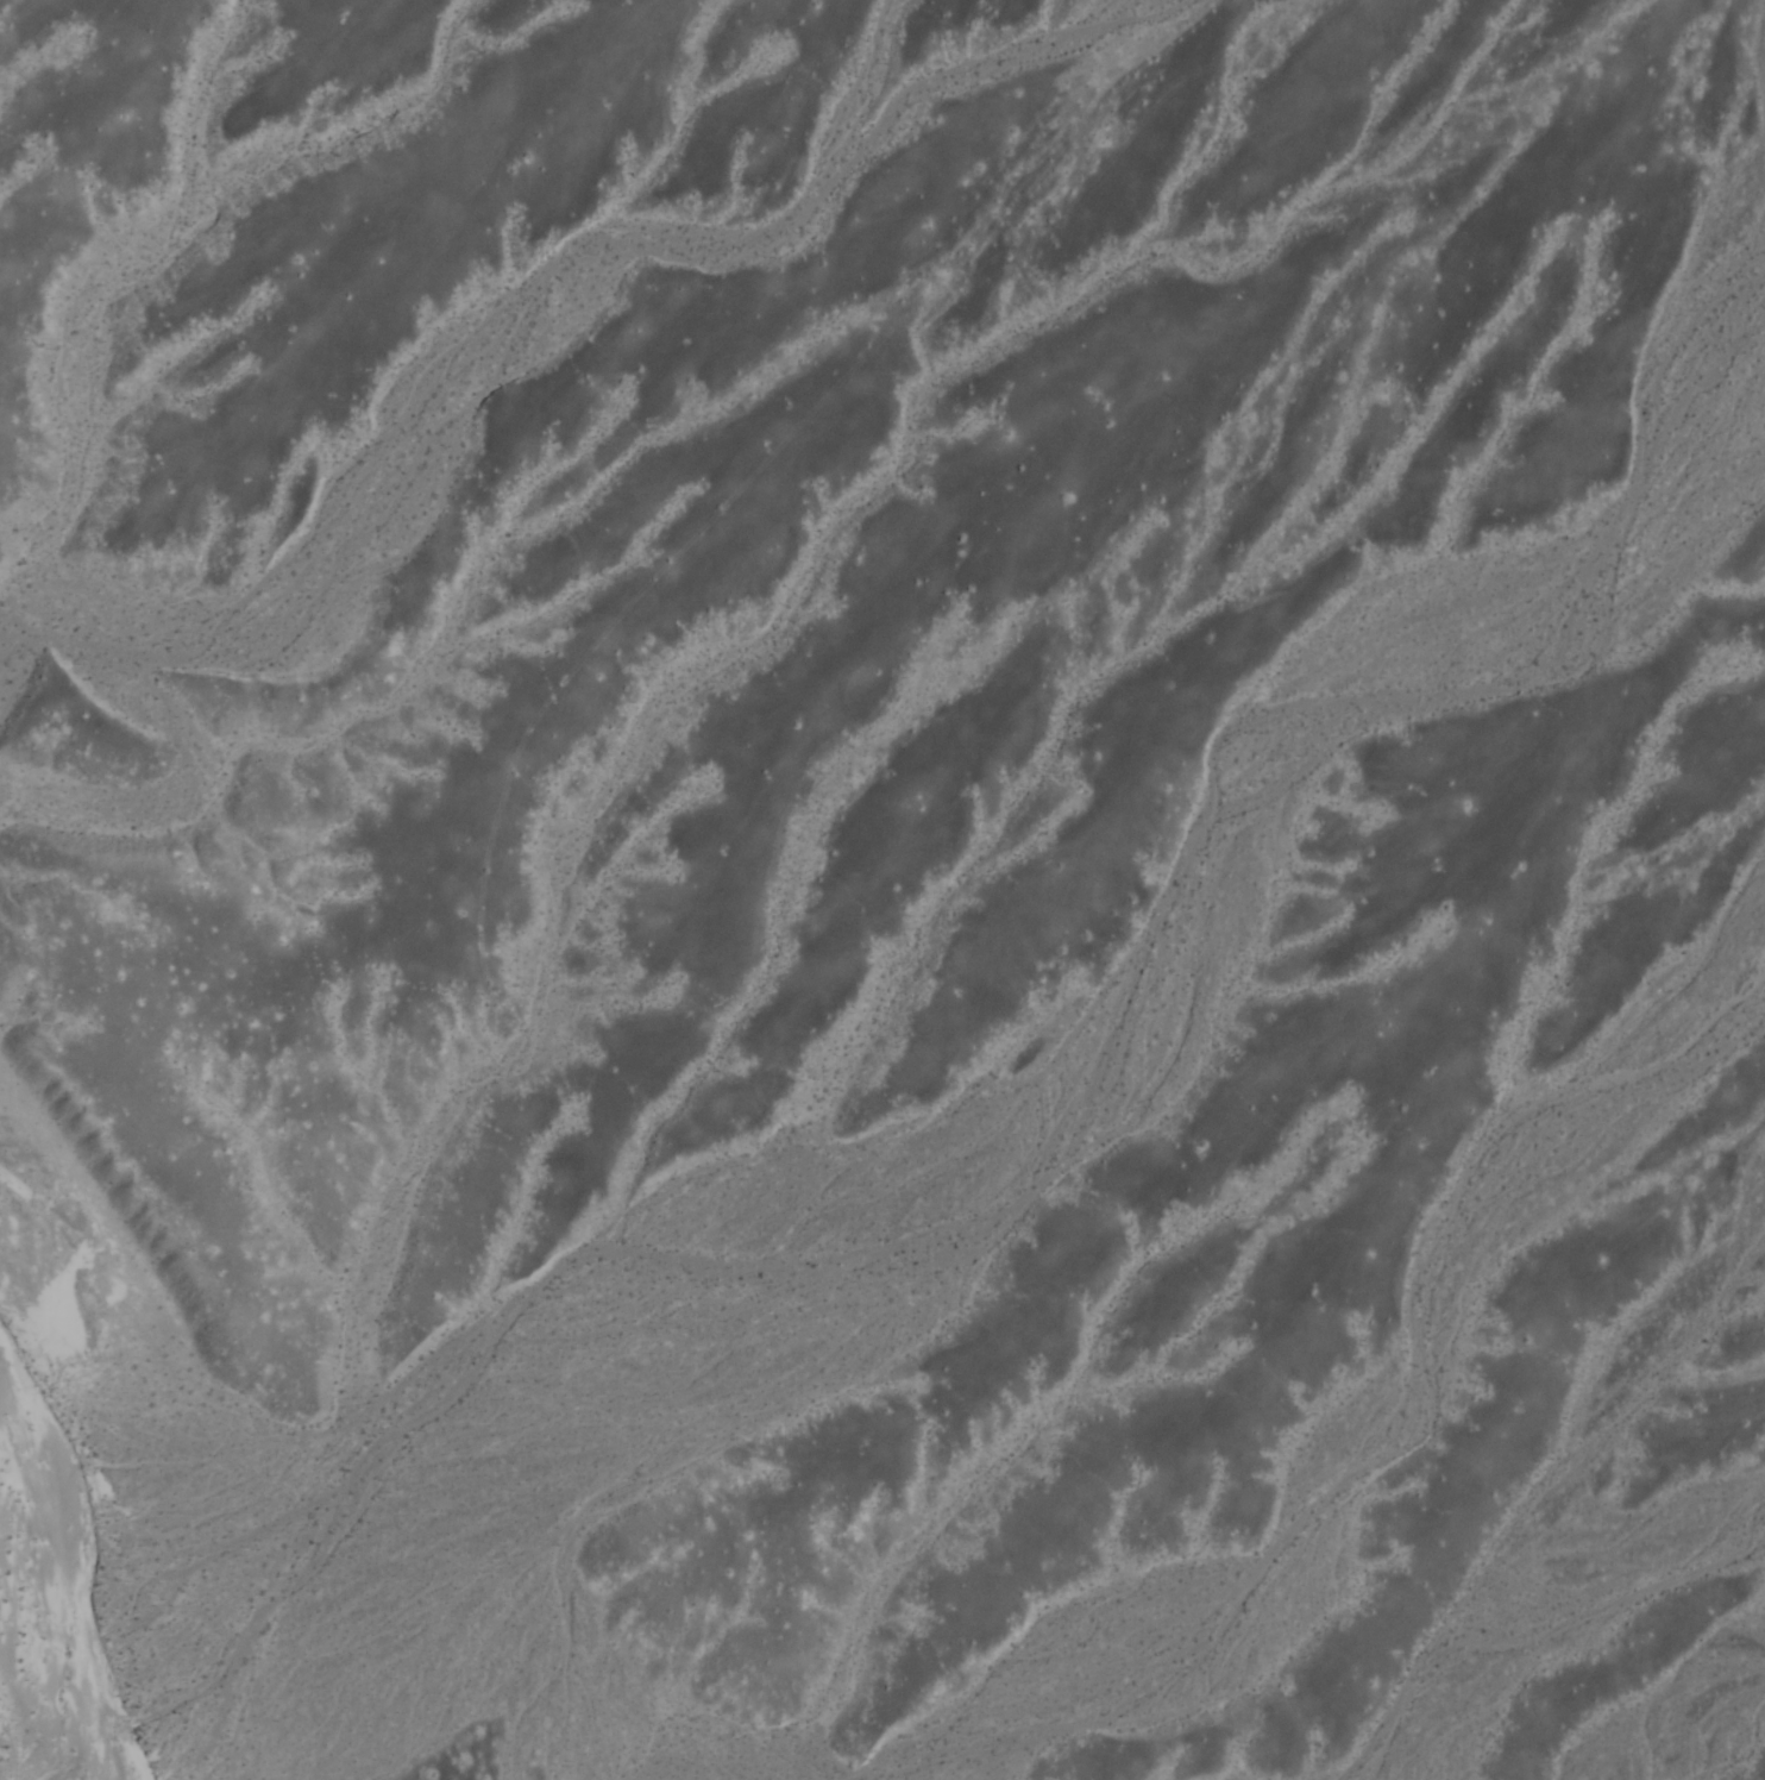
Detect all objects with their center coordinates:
river: (17, 1716)

